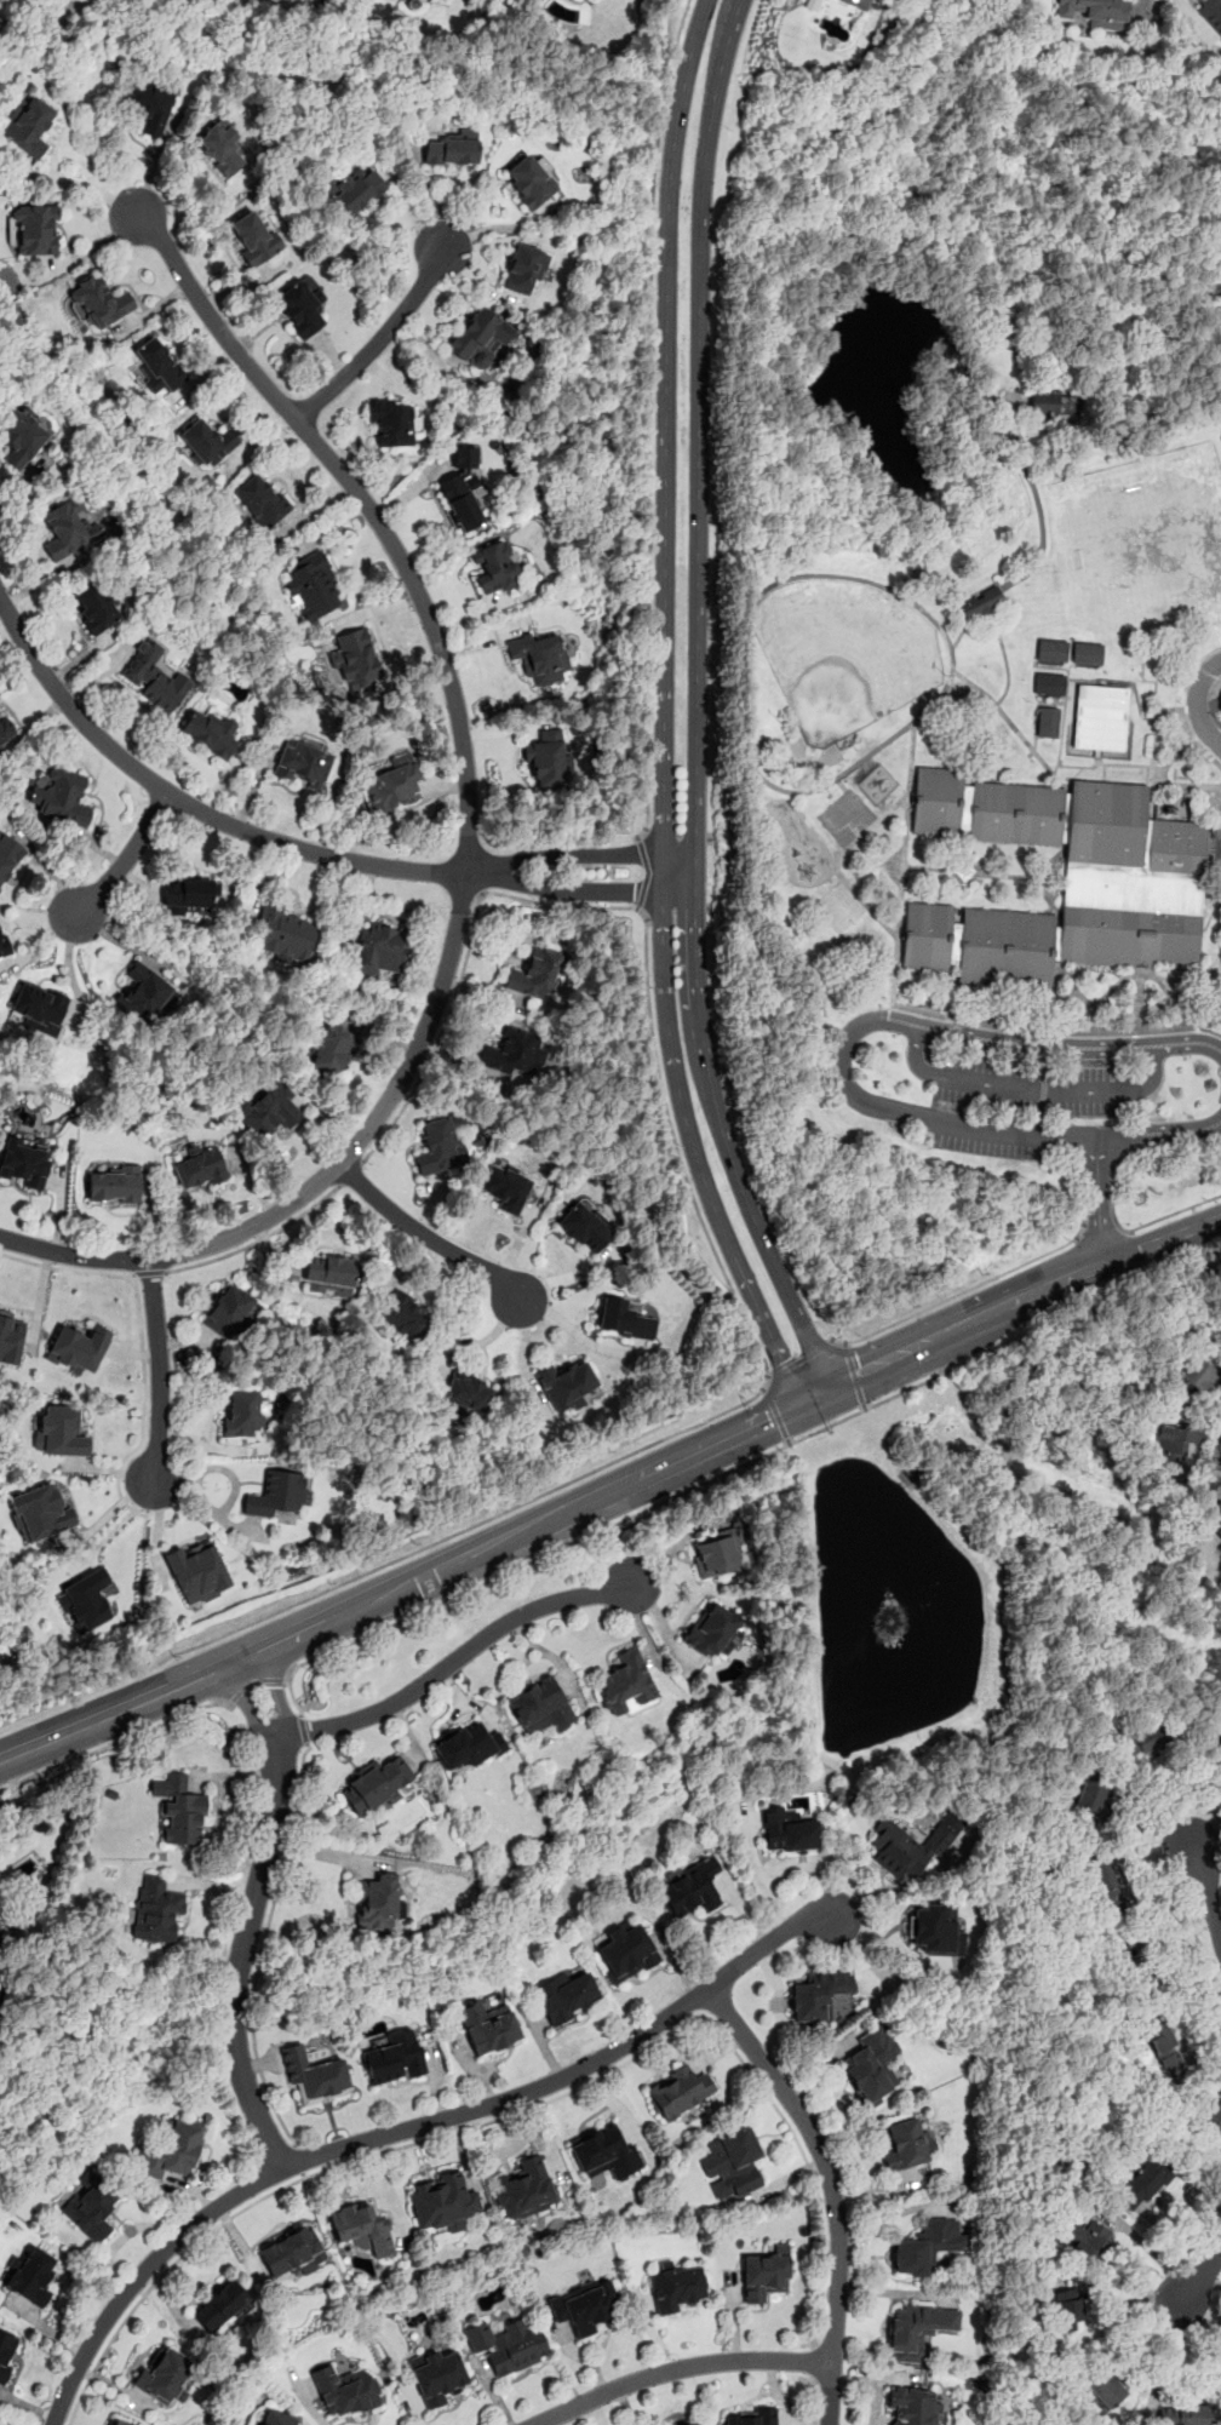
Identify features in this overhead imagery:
building: (426, 0)
road: (64, 4)
building: (858, 4)
building: (812, 5)
building: (1211, 10)
building: (1095, 12)
road: (44, 15)
building: (150, 108)
building: (28, 126)
building: (222, 148)
building: (453, 148)
road: (1045, 171)
road: (80, 182)
building: (529, 182)
building: (356, 190)
building: (35, 230)
building: (252, 237)
building: (524, 269)
building: (99, 302)
building: (300, 306)
building: (480, 338)
road: (379, 339)
building: (159, 365)
road: (1137, 392)
building: (1053, 403)
road: (648, 420)
building: (391, 422)
building: (19, 436)
building: (206, 442)
road: (665, 451)
building: (463, 491)
road: (1036, 498)
building: (260, 500)
building: (68, 527)
building: (495, 567)
building: (313, 585)
building: (981, 603)
building: (94, 606)
road: (747, 619)
building: (1051, 650)
building: (1087, 652)
building: (540, 657)
building: (354, 659)
park: (976, 659)
building: (153, 676)
building: (1048, 683)
road: (695, 703)
road: (1196, 703)
building: (1099, 717)
building: (1047, 721)
building: (5, 728)
building: (208, 733)
building: (544, 761)
building: (303, 763)
building: (394, 782)
building: (63, 797)
road: (189, 807)
road: (468, 835)
building: (8, 855)
road: (126, 856)
road: (568, 856)
road: (643, 872)
road: (680, 877)
building: (1062, 881)
road: (566, 893)
building: (189, 894)
building: (283, 933)
building: (4, 944)
building: (382, 948)
building: (535, 974)
building: (144, 993)
building: (39, 1007)
road: (915, 1009)
road: (1070, 1047)
building: (331, 1050)
building: (516, 1051)
road: (842, 1068)
road: (1031, 1087)
building: (269, 1108)
road: (1014, 1133)
road: (1159, 1133)
building: (440, 1143)
parking lot: (984, 1148)
road: (1129, 1150)
road: (698, 1159)
building: (23, 1160)
building: (197, 1165)
road: (350, 1174)
building: (113, 1183)
building: (506, 1187)
road: (1097, 1202)
road: (1171, 1211)
building: (585, 1227)
road: (1099, 1236)
road: (258, 1239)
road: (434, 1240)
road: (148, 1274)
building: (328, 1274)
road: (962, 1291)
building: (229, 1312)
building: (403, 1315)
building: (623, 1319)
road: (750, 1330)
building: (10, 1338)
road: (142, 1338)
building: (78, 1347)
road: (799, 1358)
road: (159, 1372)
building: (1200, 1374)
road: (855, 1375)
building: (564, 1385)
building: (469, 1391)
traffic signals: (808, 1391)
road: (1219, 1399)
building: (242, 1415)
road: (775, 1415)
building: (59, 1431)
building: (1175, 1443)
road: (1206, 1460)
road: (608, 1487)
building: (277, 1494)
road: (199, 1497)
building: (41, 1510)
building: (1214, 1517)
road: (606, 1526)
building: (716, 1552)
building: (197, 1571)
road: (139, 1588)
building: (84, 1600)
building: (711, 1628)
road: (453, 1662)
road: (254, 1680)
building: (626, 1684)
building: (540, 1705)
road: (304, 1729)
building: (1141, 1739)
building: (1220, 1739)
road: (116, 1742)
building: (468, 1745)
building: (374, 1784)
building: (1093, 1801)
building: (180, 1811)
building: (787, 1831)
building: (905, 1847)
building: (1104, 1882)
building: (690, 1886)
road: (1206, 1887)
building: (378, 1902)
building: (156, 1910)
road: (251, 1915)
building: (935, 1928)
building: (1122, 1939)
building: (2, 1943)
road: (262, 1948)
building: (625, 1951)
building: (1145, 1976)
building: (568, 1995)
building: (818, 1995)
building: (487, 2026)
road: (677, 2028)
building: (1165, 2050)
building: (394, 2057)
building: (871, 2065)
building: (314, 2077)
building: (677, 2092)
building: (1210, 2125)
road: (406, 2127)
building: (906, 2144)
building: (170, 2150)
building: (603, 2152)
road: (822, 2157)
building: (733, 2160)
road: (298, 2161)
building: (1145, 2183)
building: (524, 2189)
building: (442, 2201)
building: (90, 2205)
building: (362, 2228)
building: (1088, 2240)
building: (925, 2247)
building: (292, 2252)
building: (764, 2275)
building: (30, 2276)
road: (160, 2276)
road: (1200, 2277)
building: (677, 2287)
building: (585, 2304)
building: (220, 2305)
building: (1067, 2310)
building: (916, 2329)
building: (508, 2345)
building: (6, 2351)
road: (812, 2358)
road: (678, 2368)
building: (162, 2374)
building: (436, 2375)
building: (1105, 2387)
building: (344, 2390)
road: (830, 2394)
road: (304, 2400)
road: (813, 2400)
building: (912, 2406)
building: (1185, 2415)
building: (273, 2418)
building: (751, 2418)
building: (115, 2423)
building: (693, 2423)

